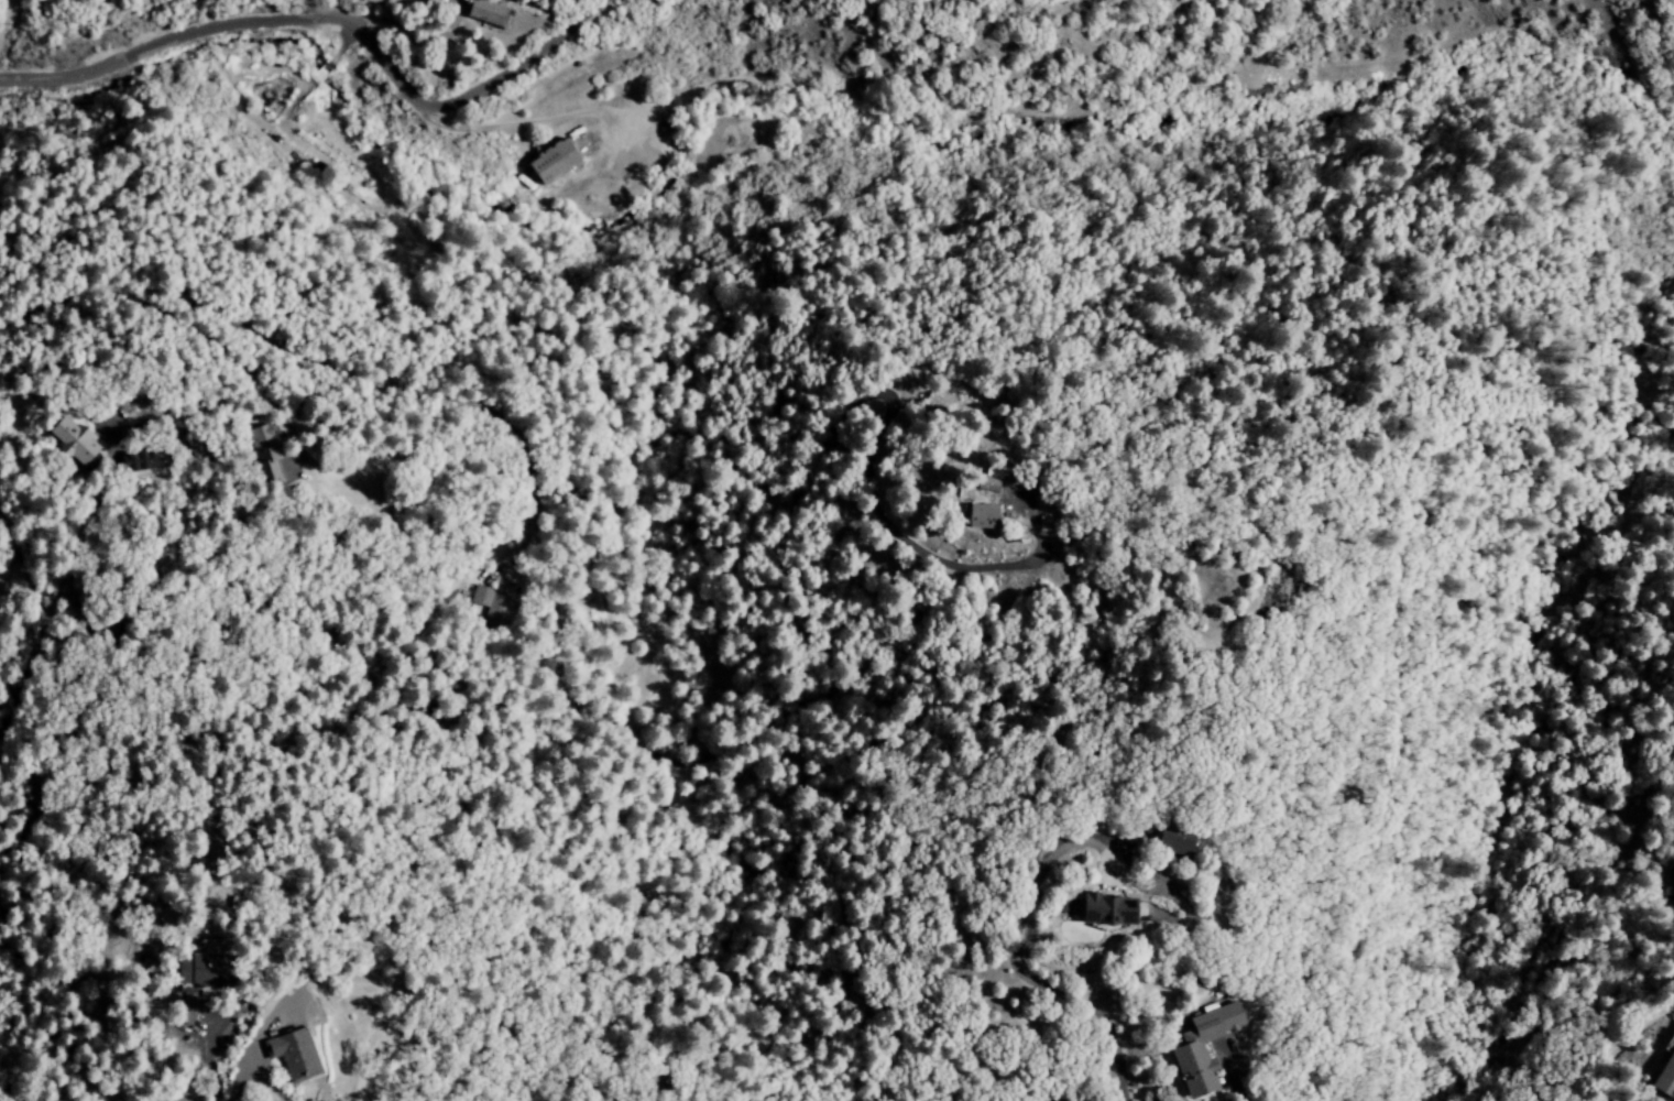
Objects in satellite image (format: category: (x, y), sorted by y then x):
building: (490, 13)
road: (332, 39)
building: (551, 162)
road: (355, 374)
building: (70, 440)
building: (264, 451)
building: (133, 461)
building: (988, 480)
building: (980, 516)
road: (76, 539)
road: (10, 599)
road: (17, 601)
building: (492, 604)
building: (1171, 841)
road: (1109, 883)
building: (1668, 891)
building: (1103, 911)
road: (1019, 969)
building: (199, 971)
building: (184, 1010)
building: (1202, 1048)
building: (294, 1054)
road: (211, 1068)
building: (1665, 1077)

